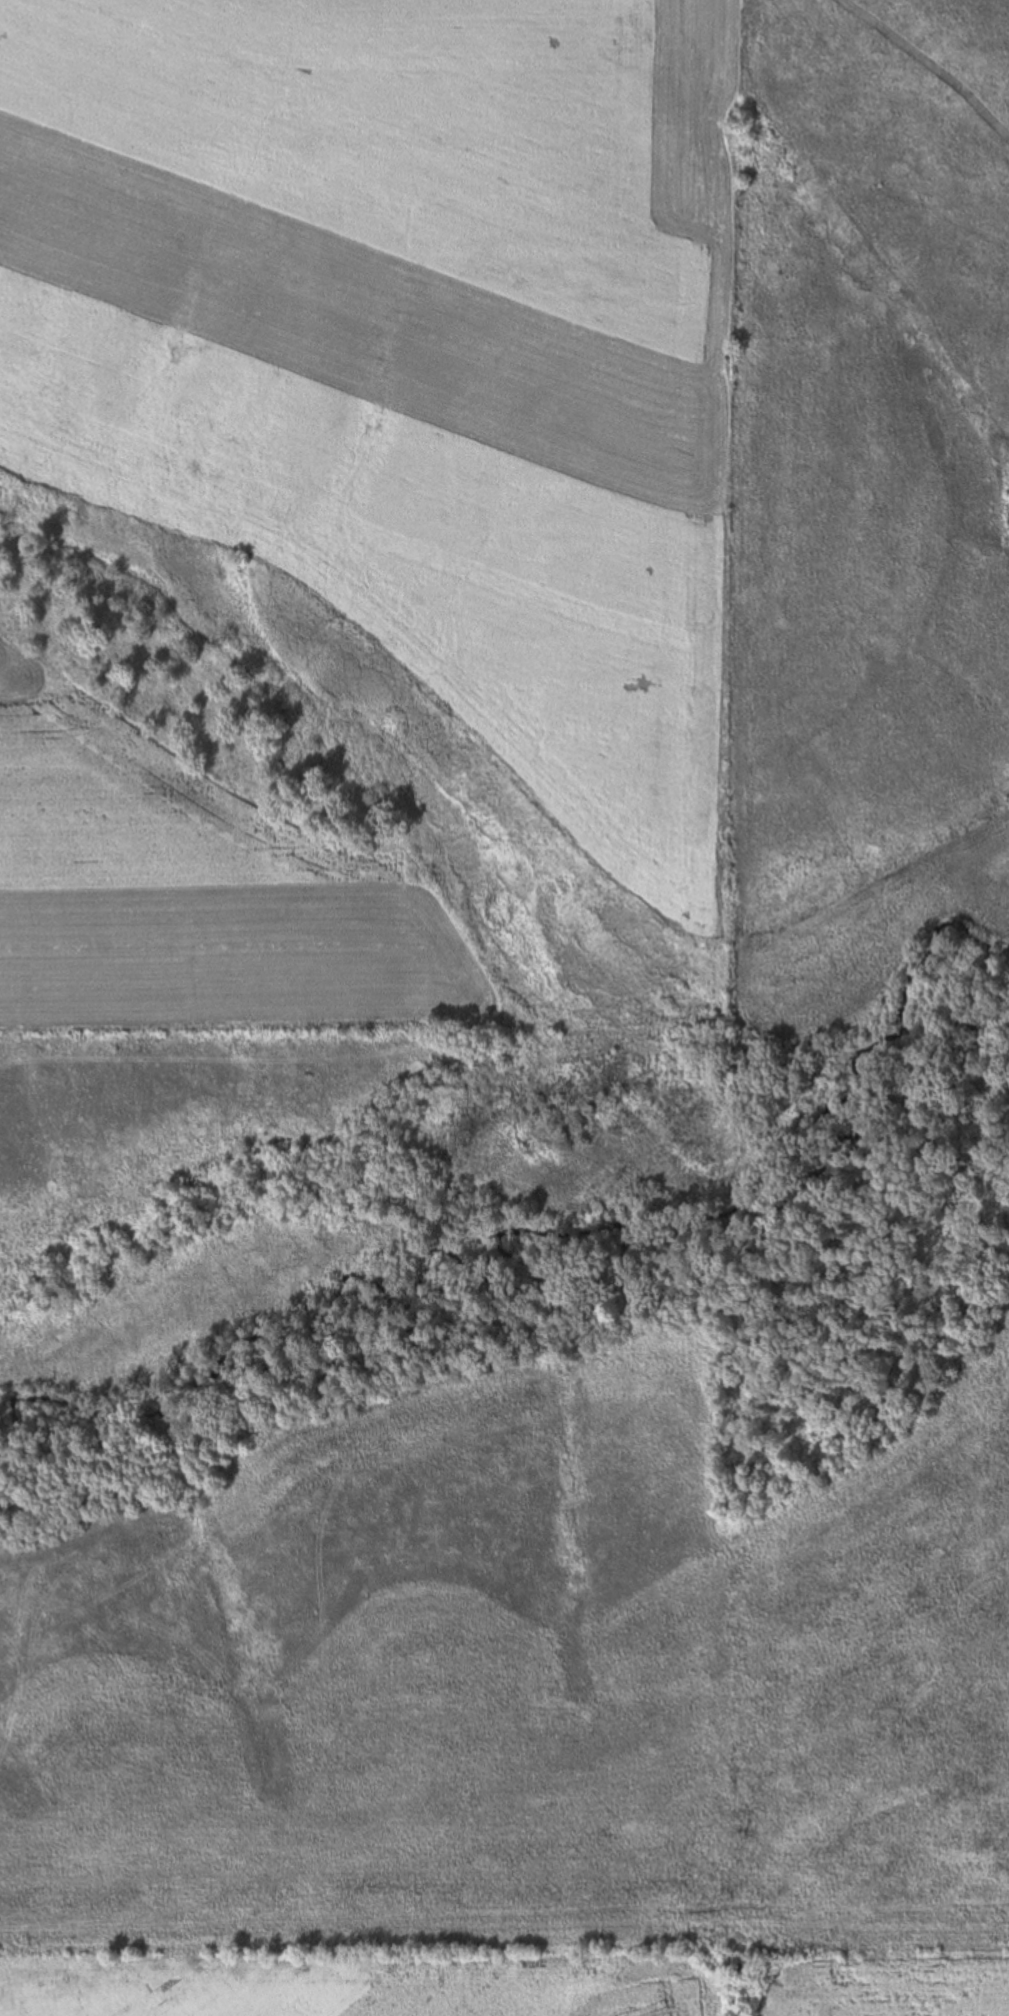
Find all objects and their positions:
road: (356, 1985)

